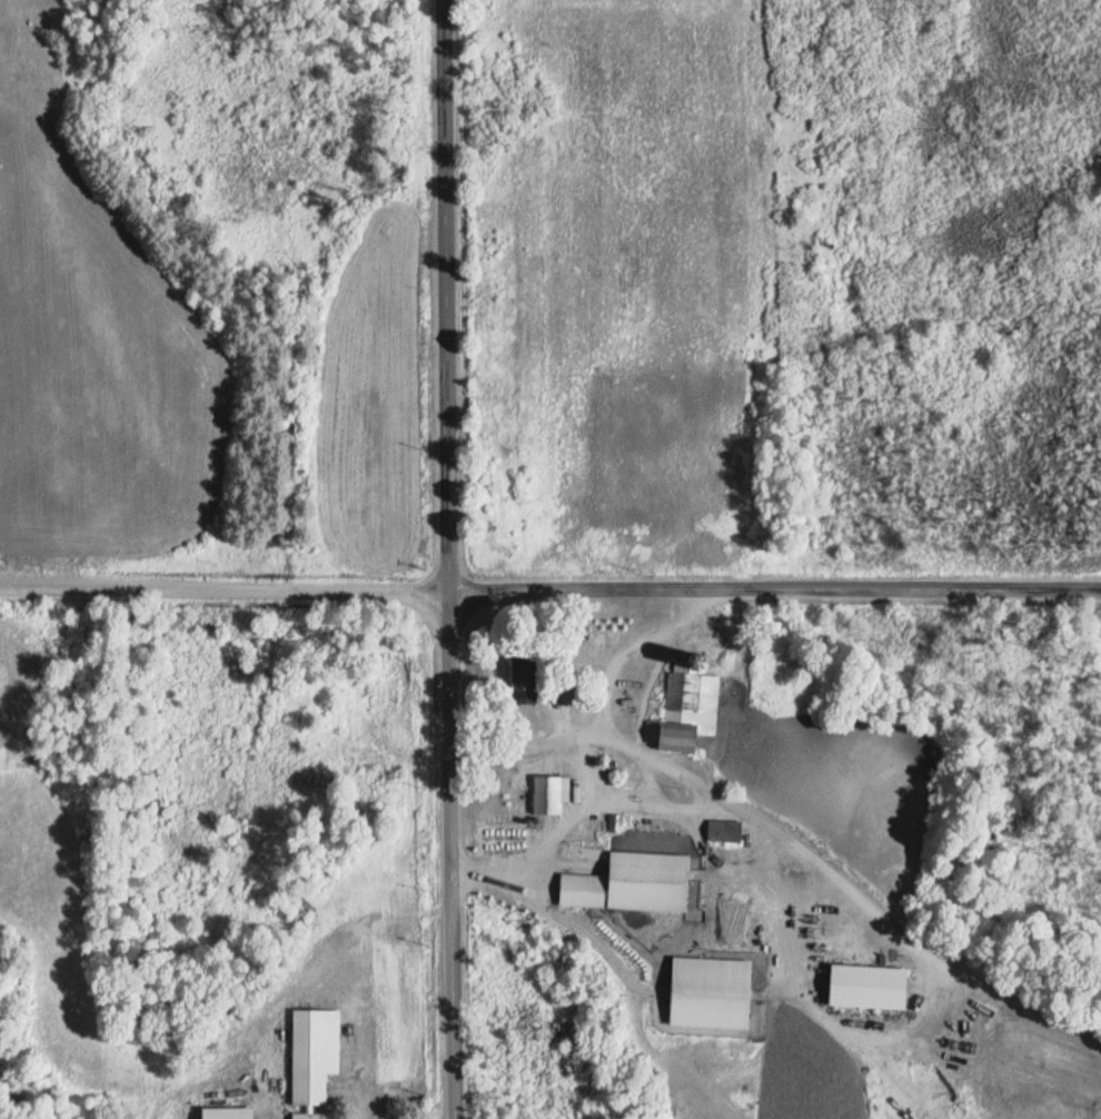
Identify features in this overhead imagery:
road: (449, 558)
road: (549, 590)
building: (688, 713)
building: (556, 794)
building: (638, 884)
building: (717, 993)
road: (617, 1000)
building: (317, 1053)
road: (954, 1107)
building: (234, 1112)
building: (310, 1117)

